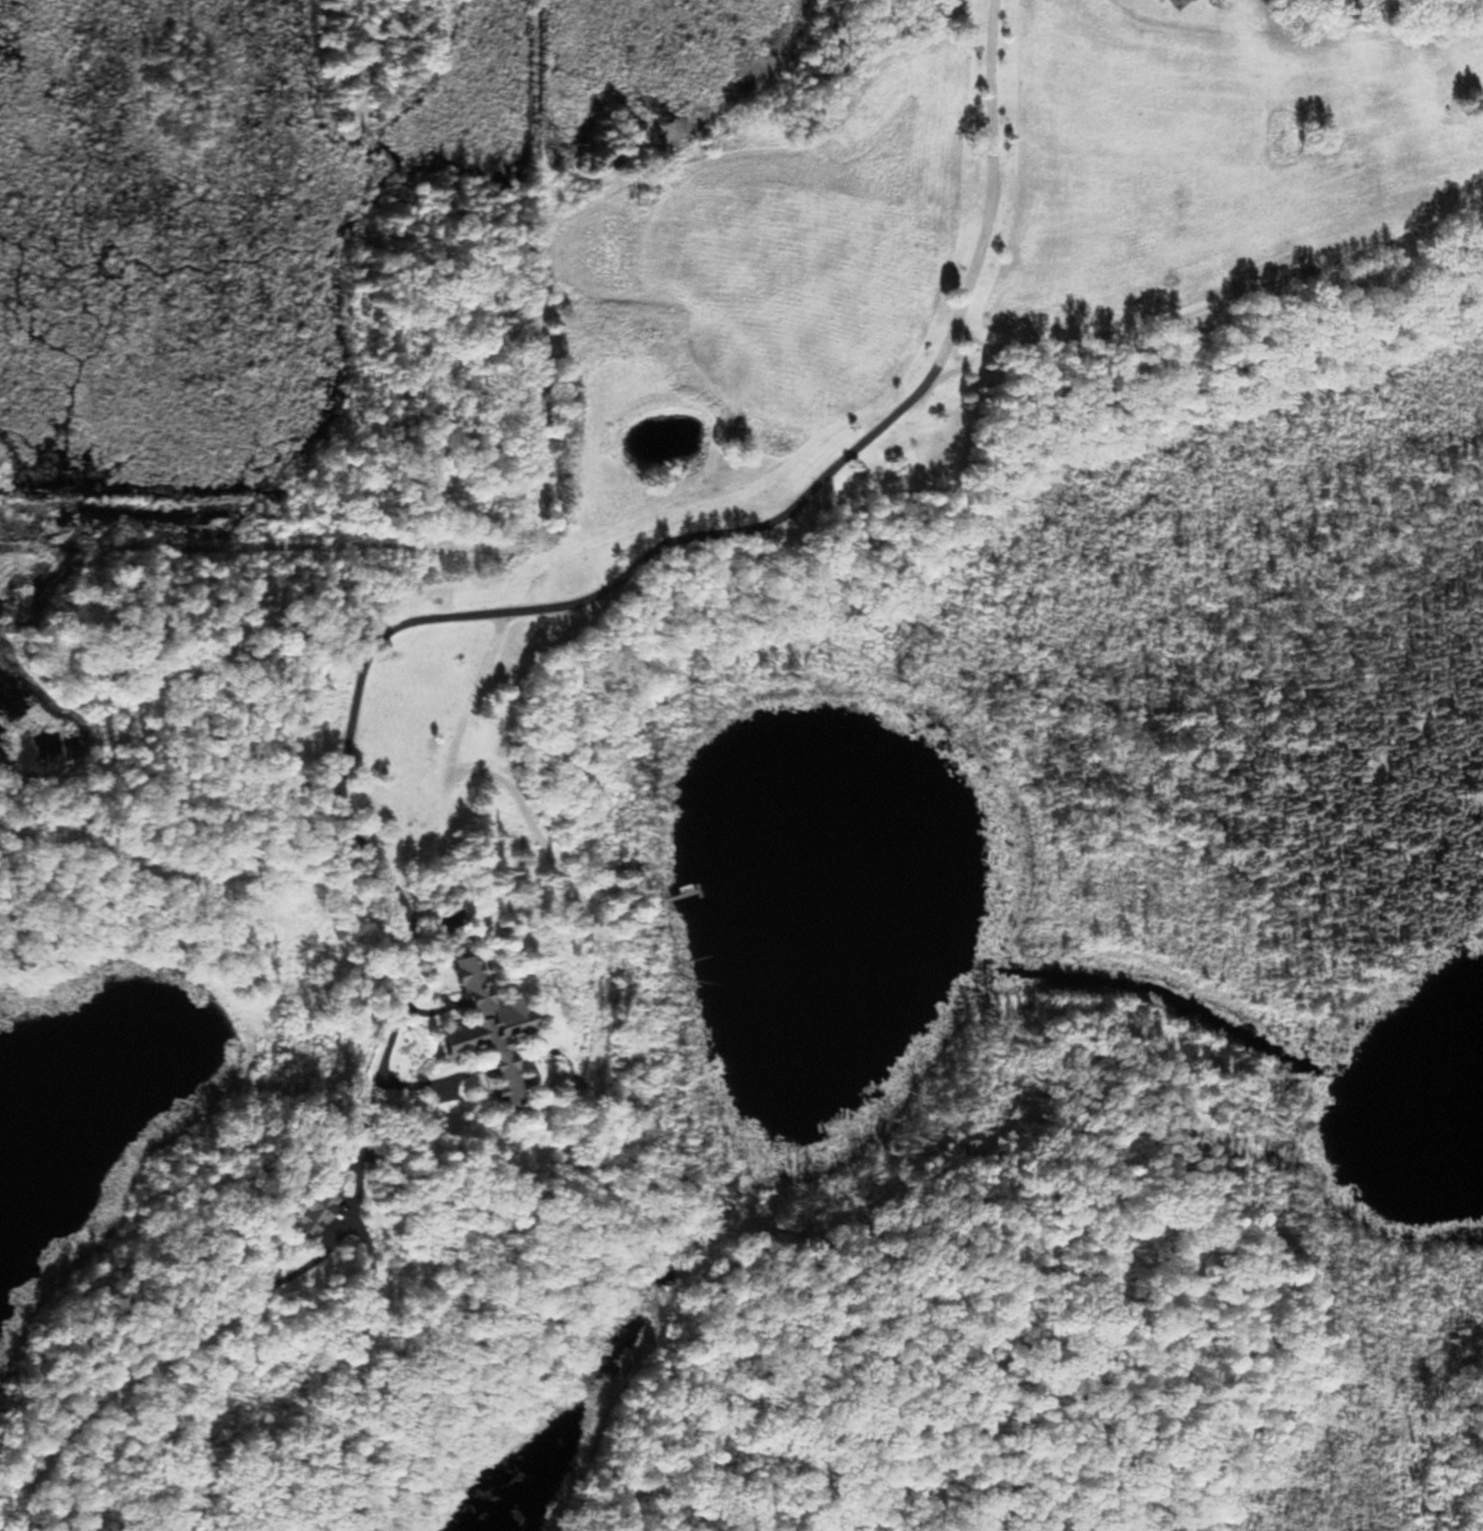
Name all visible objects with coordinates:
road: (755, 517)
building: (482, 1026)
building: (311, 1201)

